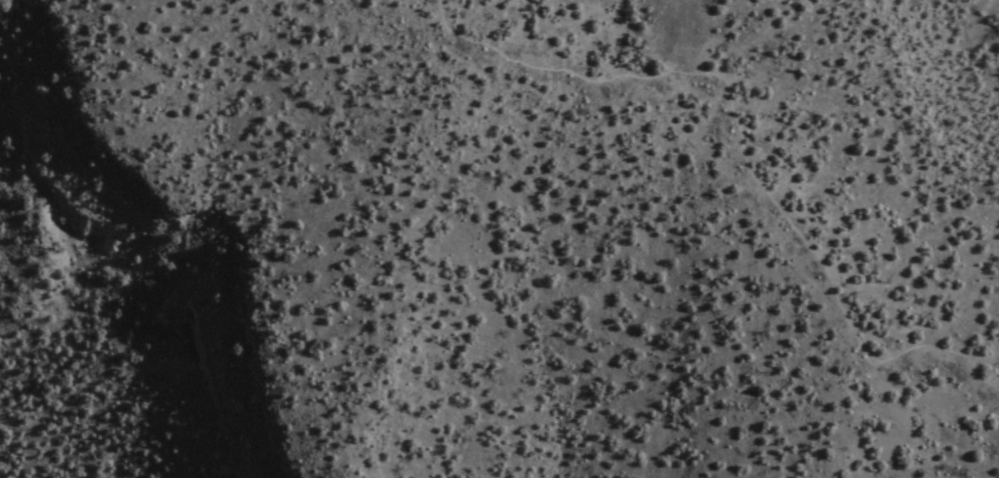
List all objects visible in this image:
road: (744, 157)

